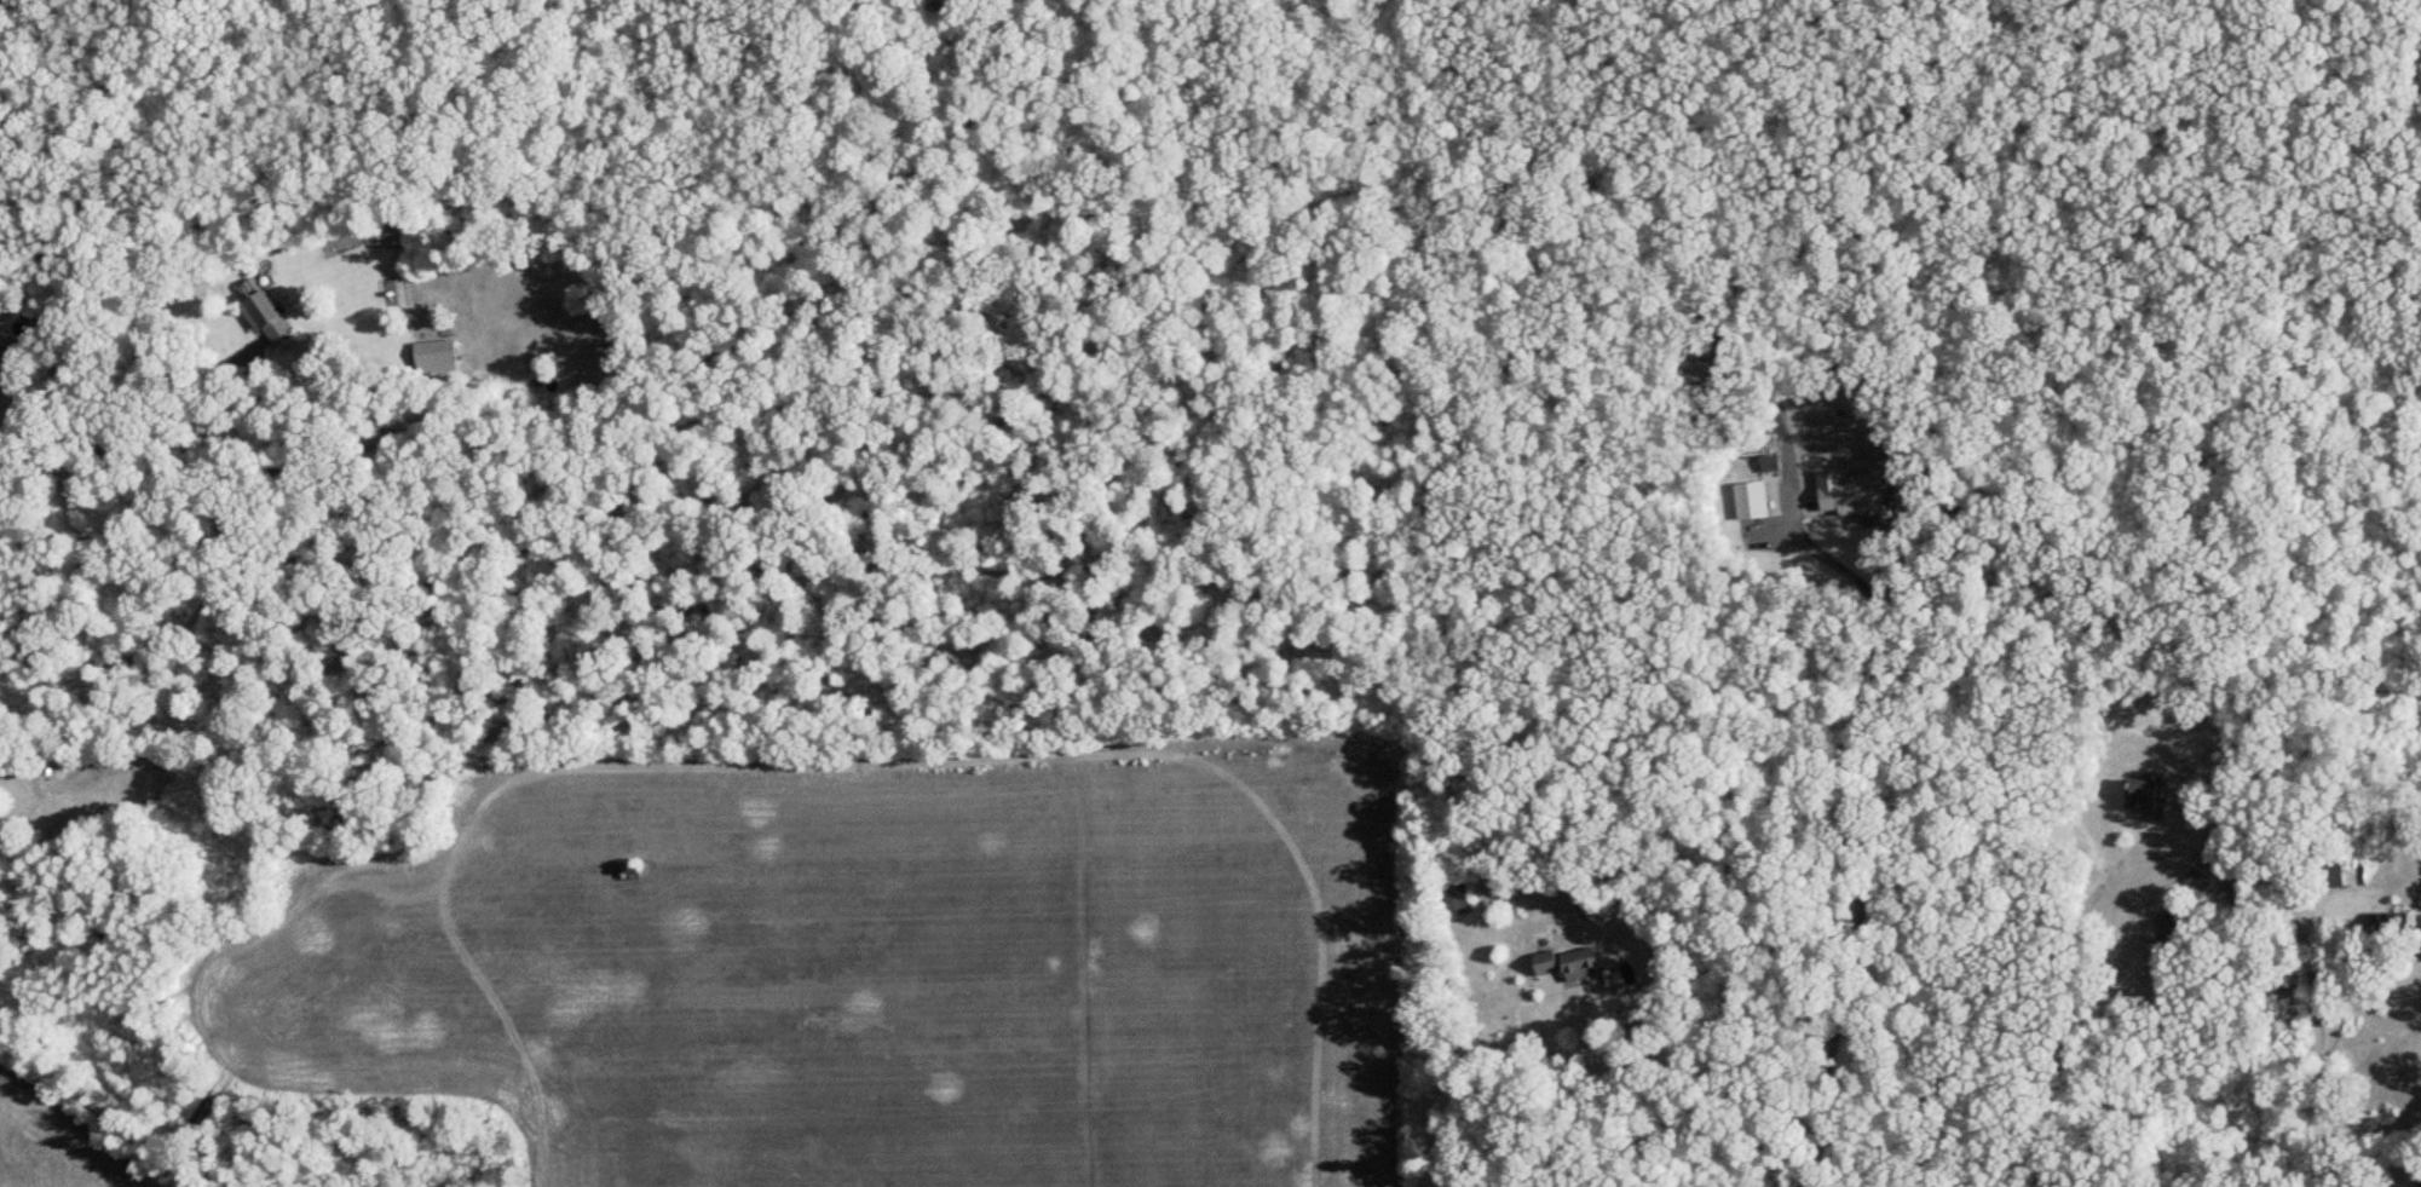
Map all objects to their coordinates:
building: (263, 312)
building: (17, 352)
building: (436, 355)
road: (117, 405)
road: (296, 450)
building: (2145, 797)
road: (1860, 828)
building: (2324, 874)
building: (2197, 882)
road: (2331, 895)
building: (1453, 899)
building: (2394, 926)
building: (1564, 968)
road: (2065, 998)
road: (1587, 1097)
road: (2319, 1122)
road: (2357, 1171)
building: (2420, 1180)

